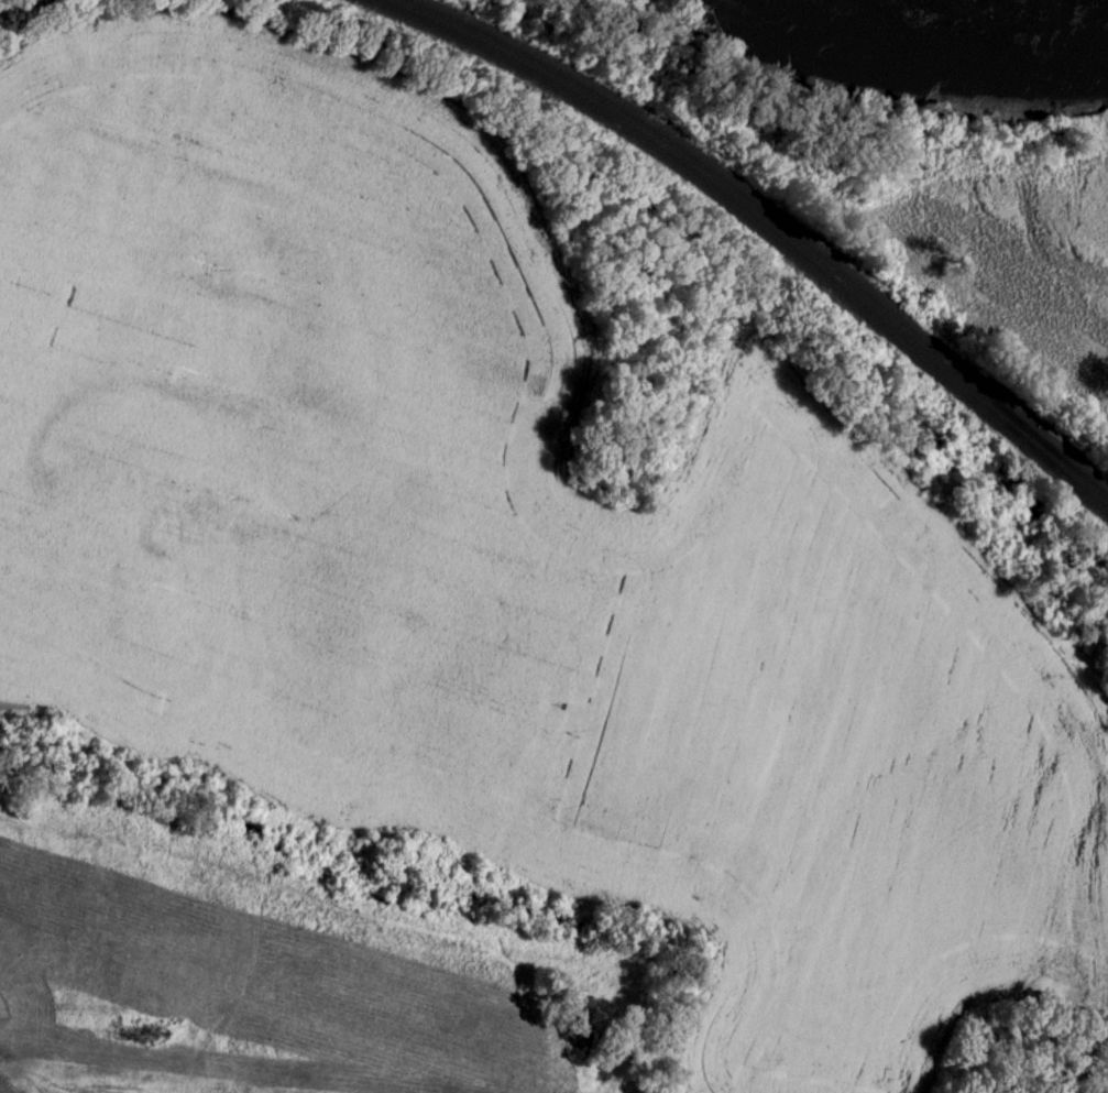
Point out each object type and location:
railway: (775, 223)
railway: (761, 225)

